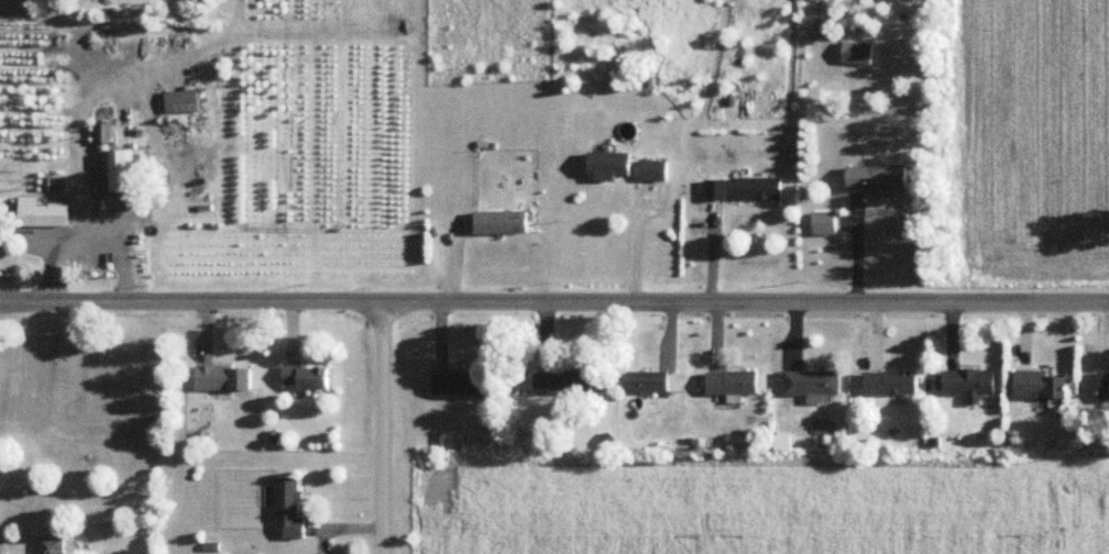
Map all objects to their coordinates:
building: (857, 54)
building: (182, 102)
building: (120, 164)
building: (611, 166)
building: (654, 171)
building: (878, 181)
road: (83, 184)
building: (757, 189)
building: (716, 190)
building: (43, 214)
building: (502, 222)
road: (53, 264)
road: (553, 301)
building: (226, 379)
building: (307, 379)
building: (648, 383)
building: (563, 384)
building: (733, 384)
building: (458, 385)
building: (813, 385)
building: (893, 385)
building: (970, 385)
building: (1042, 387)
building: (1105, 389)
road: (382, 428)
building: (290, 509)
building: (54, 546)

